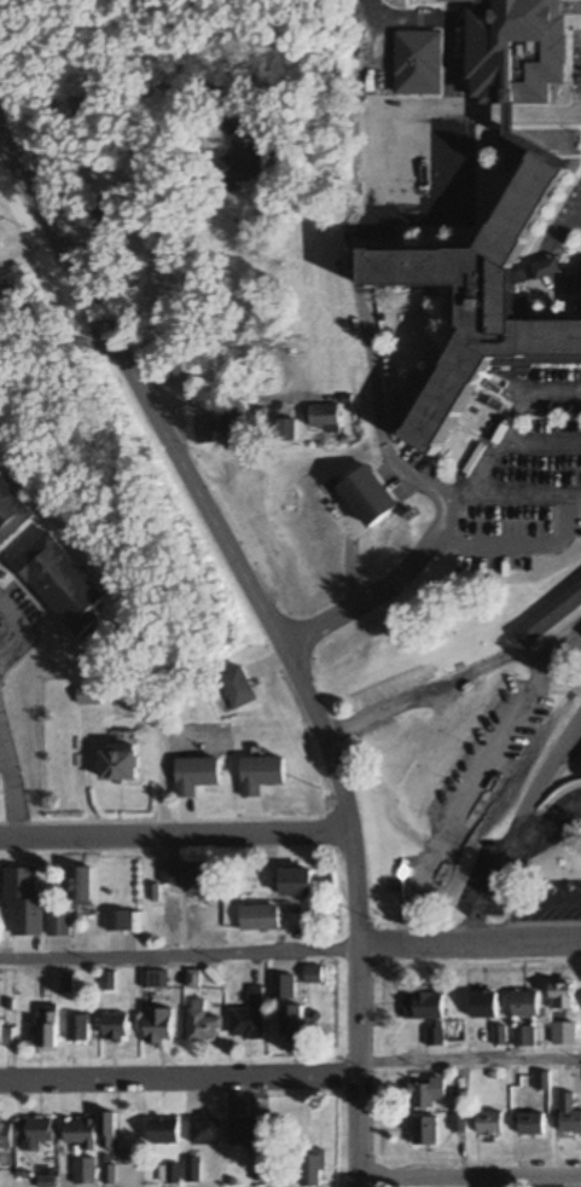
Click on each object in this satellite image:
road: (384, 57)
building: (492, 58)
road: (86, 103)
road: (233, 108)
road: (480, 114)
building: (368, 145)
building: (242, 162)
building: (109, 207)
building: (480, 302)
road: (225, 400)
building: (325, 418)
building: (239, 424)
building: (205, 433)
road: (184, 480)
building: (12, 511)
building: (303, 555)
building: (62, 584)
building: (550, 615)
road: (447, 681)
building: (118, 764)
road: (10, 795)
road: (461, 799)
road: (186, 833)
road: (10, 836)
road: (502, 859)
building: (169, 875)
building: (197, 881)
building: (297, 884)
building: (19, 886)
building: (80, 887)
road: (354, 888)
road: (531, 901)
building: (260, 919)
building: (118, 921)
building: (59, 923)
road: (470, 946)
road: (179, 951)
building: (313, 974)
building: (156, 980)
building: (284, 988)
building: (562, 996)
building: (484, 1004)
building: (525, 1004)
building: (425, 1007)
building: (249, 1018)
building: (292, 1023)
building: (202, 1024)
building: (115, 1026)
building: (158, 1027)
building: (48, 1029)
building: (79, 1029)
building: (5, 1032)
building: (564, 1033)
building: (435, 1035)
building: (500, 1036)
building: (524, 1037)
road: (469, 1058)
road: (355, 1067)
road: (178, 1076)
building: (544, 1083)
building: (428, 1094)
building: (569, 1114)
building: (490, 1124)
building: (531, 1124)
building: (246, 1130)
building: (110, 1131)
building: (164, 1131)
building: (207, 1131)
building: (424, 1131)
building: (37, 1134)
building: (80, 1134)
building: (6, 1136)
building: (313, 1169)
building: (193, 1170)
building: (169, 1175)
road: (469, 1176)

